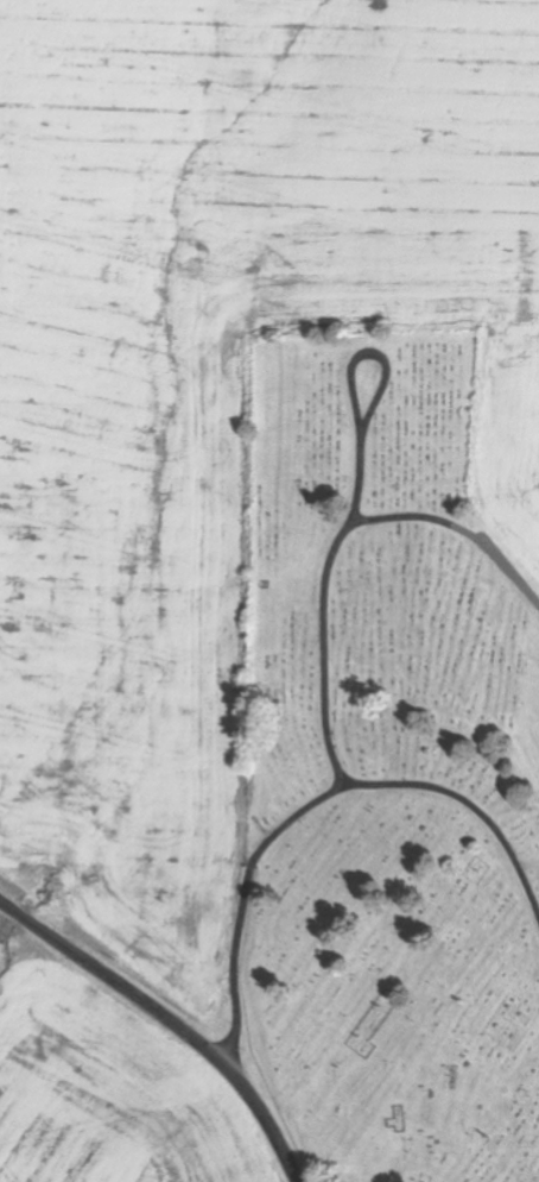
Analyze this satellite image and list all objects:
road: (169, 1020)

